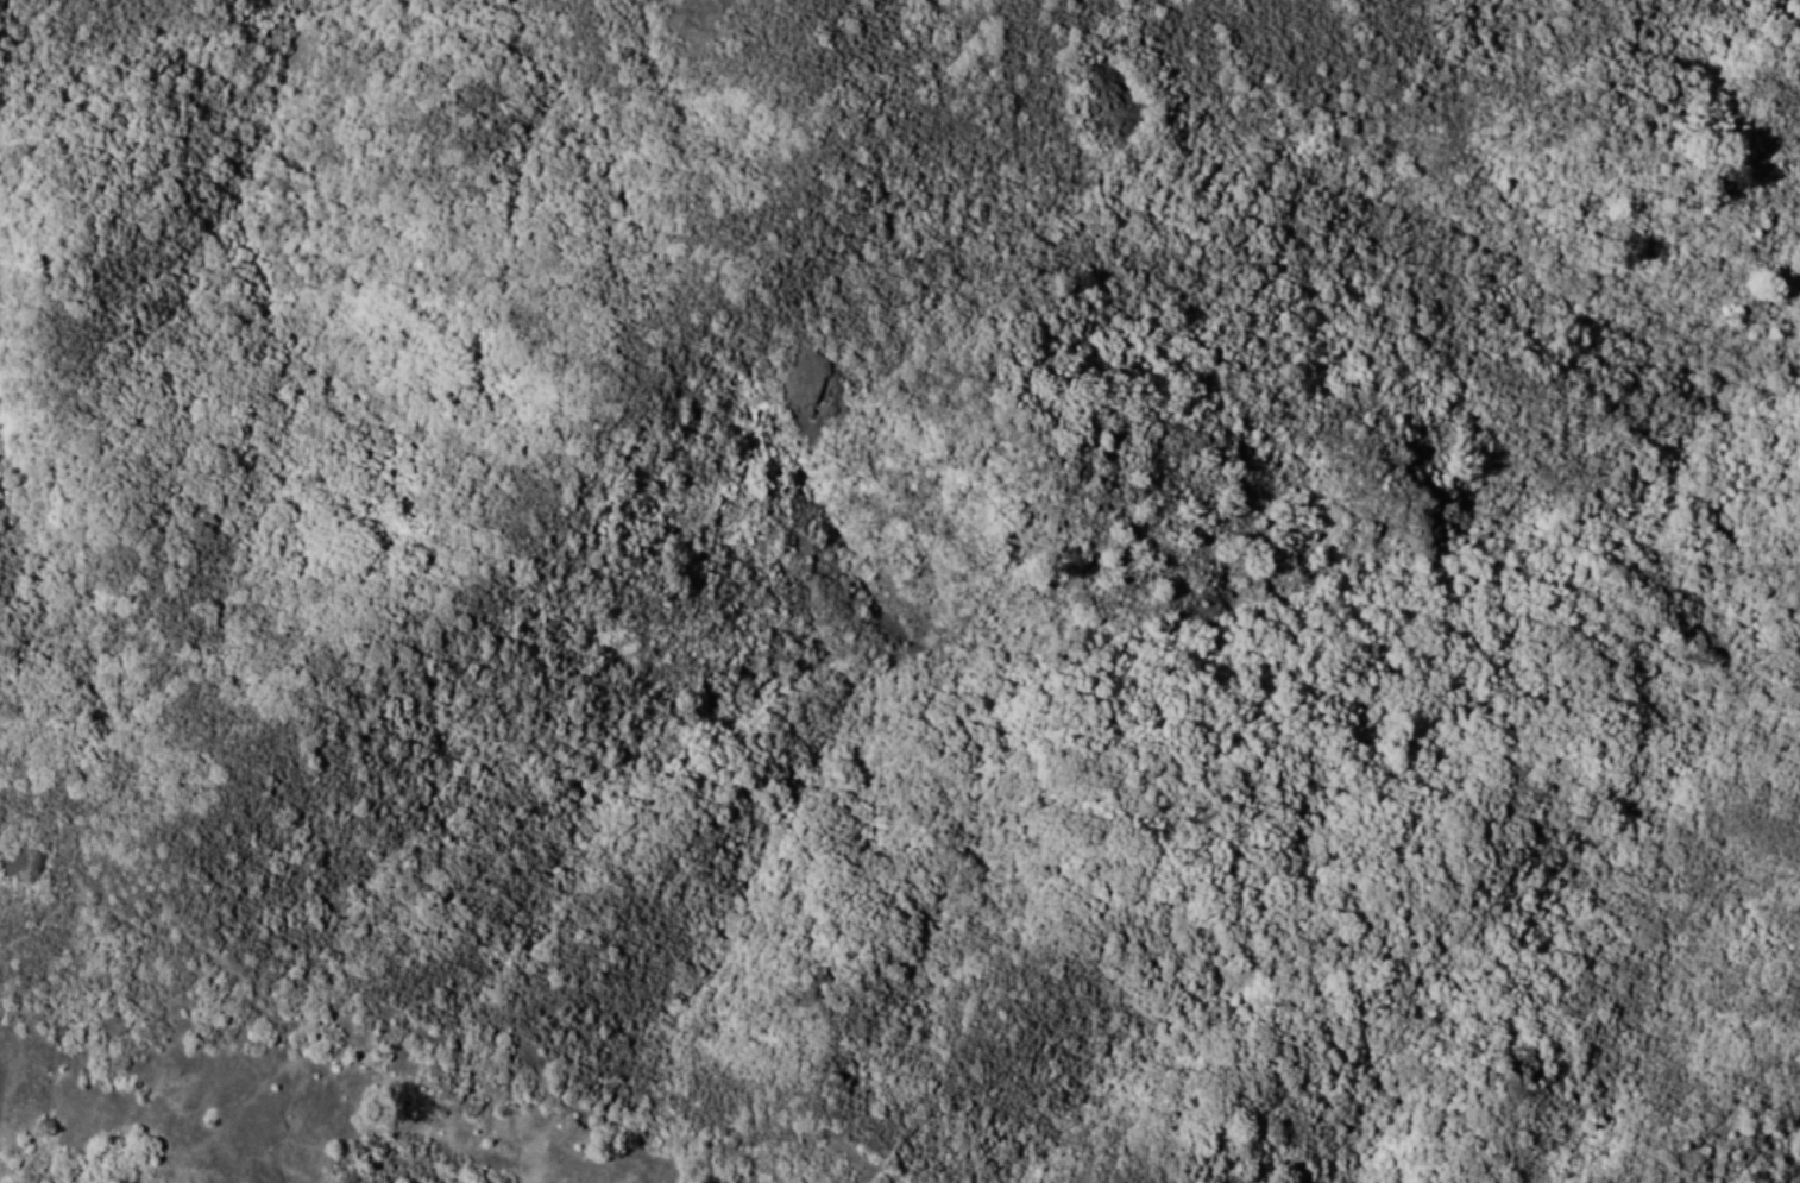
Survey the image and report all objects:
road: (435, 1044)

